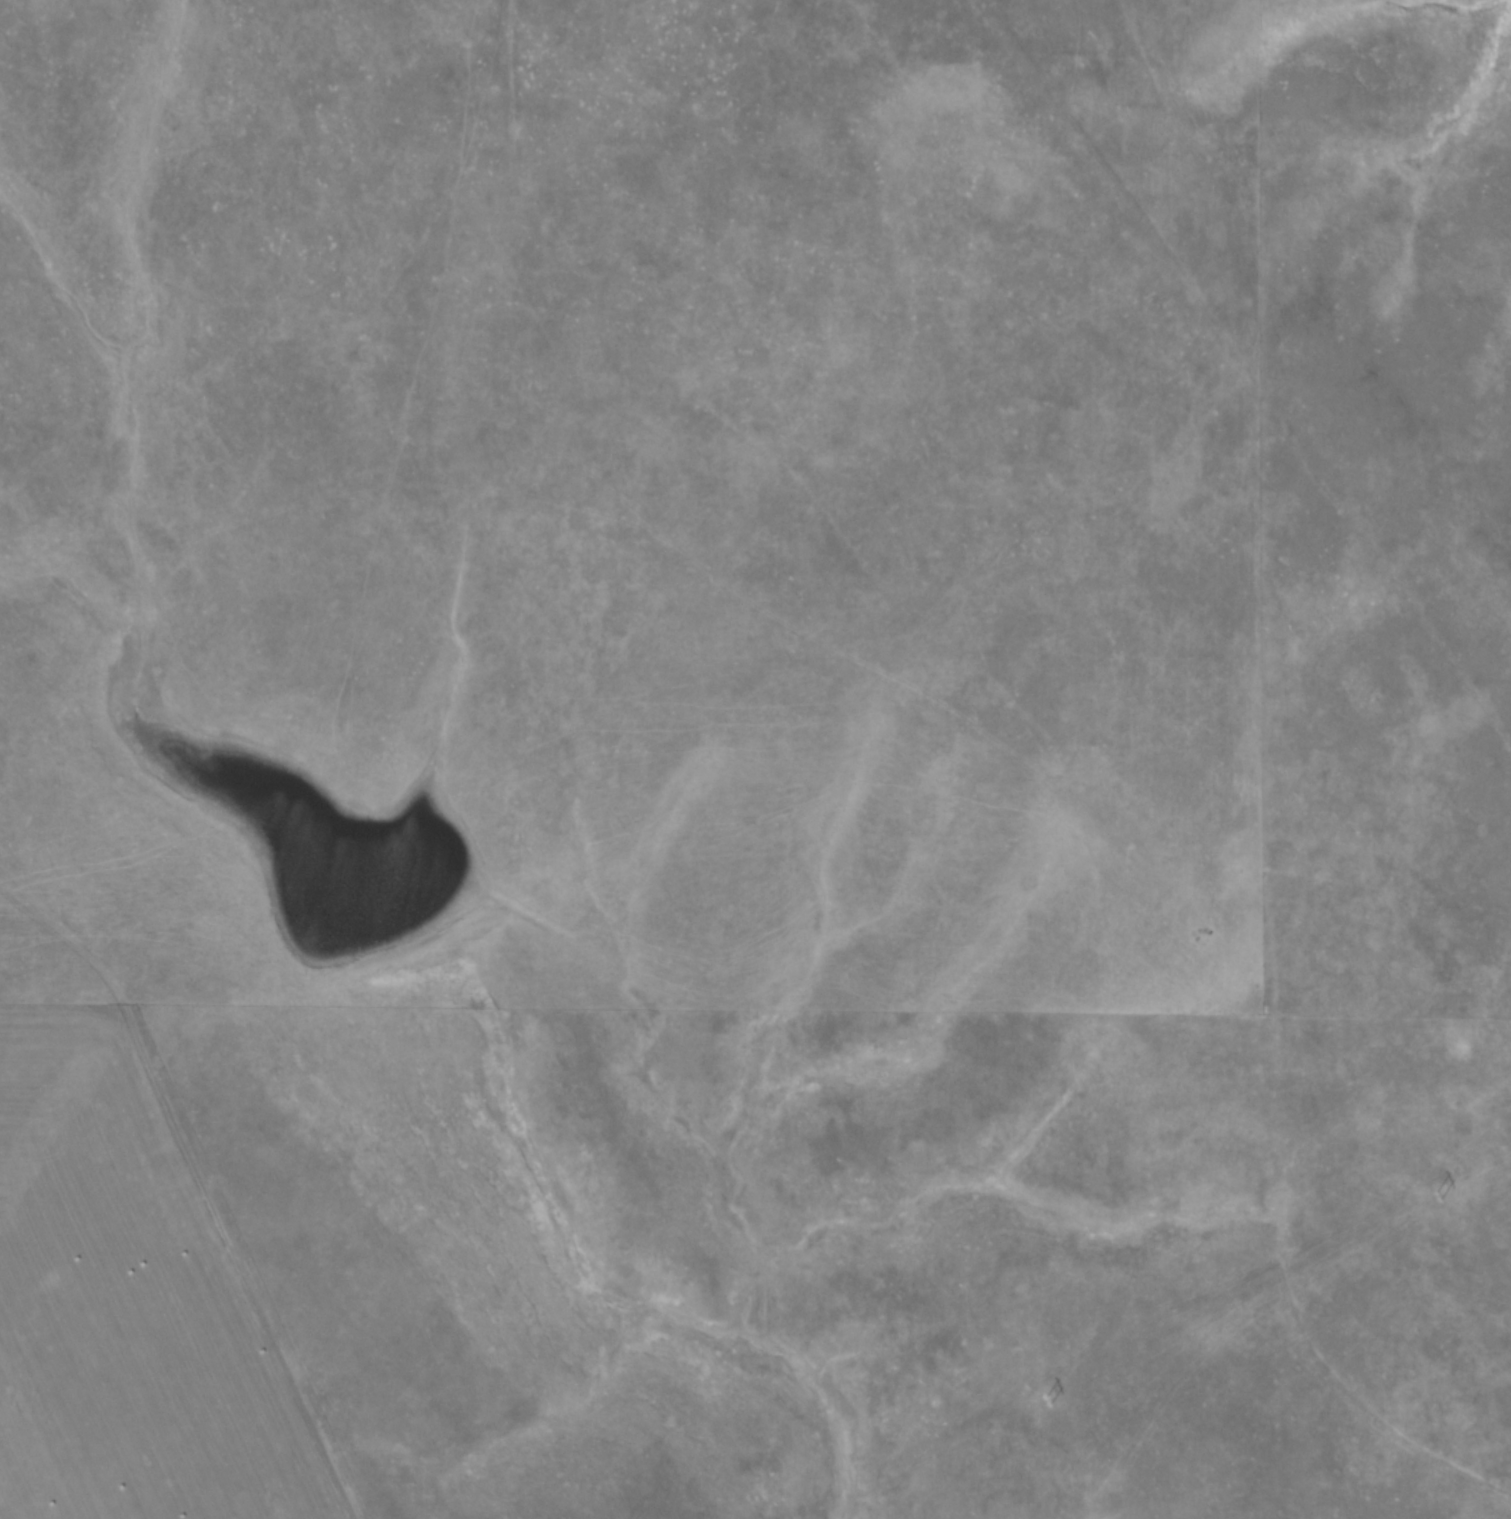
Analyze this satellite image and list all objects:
road: (209, 1176)
power tower: (1435, 1197)
power tower: (1044, 1399)

